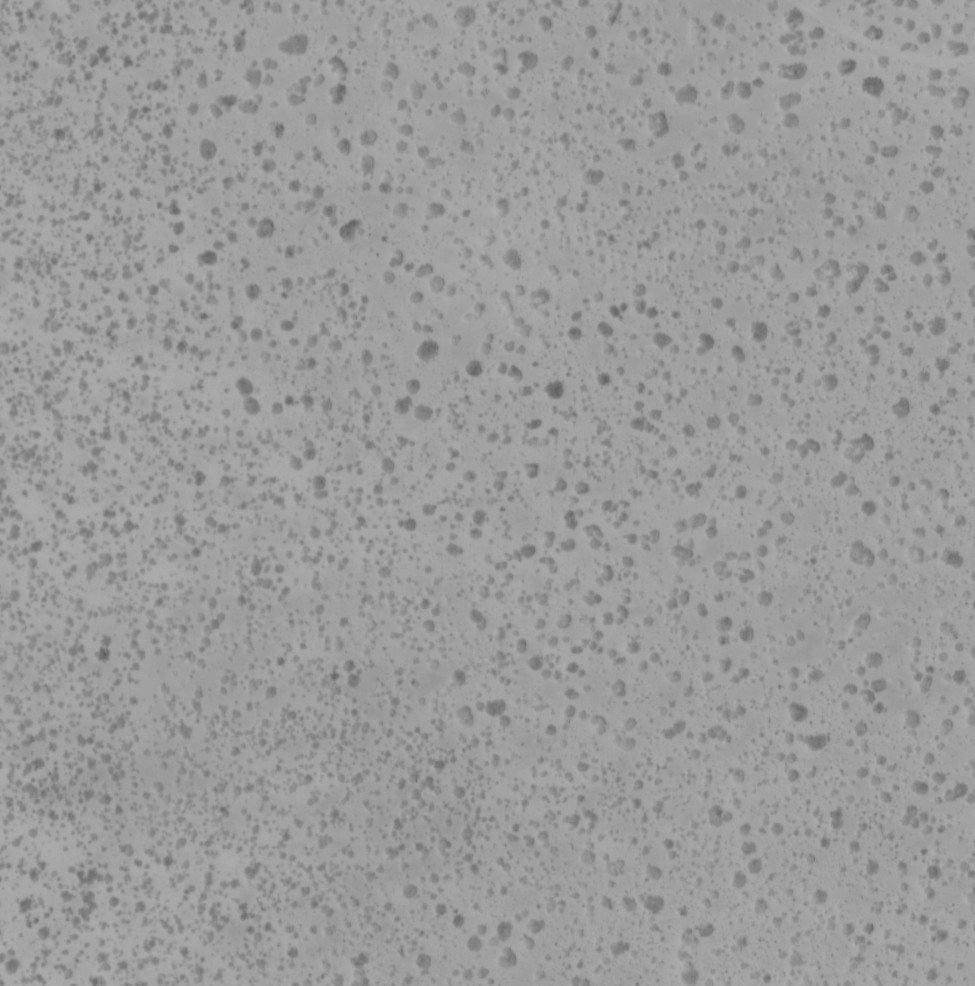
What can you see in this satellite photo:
road: (879, 41)

